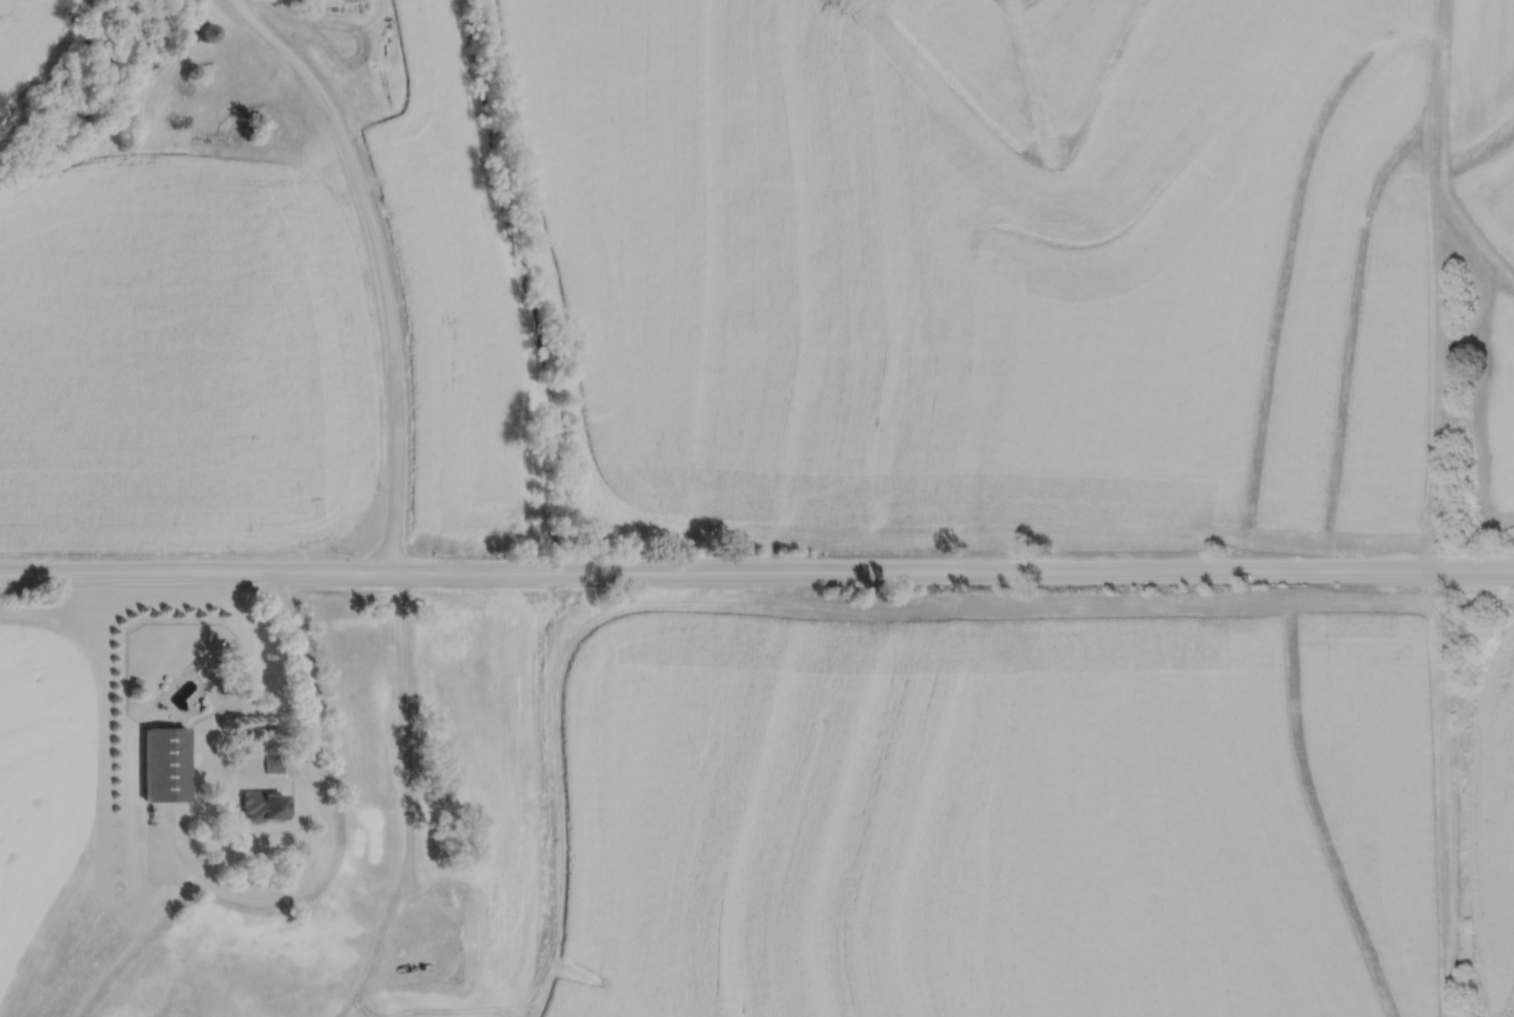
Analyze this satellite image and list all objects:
building: (206, 32)
road: (383, 262)
road: (756, 570)
road: (304, 664)
road: (408, 718)
building: (272, 763)
building: (163, 764)
building: (262, 806)
building: (409, 946)

